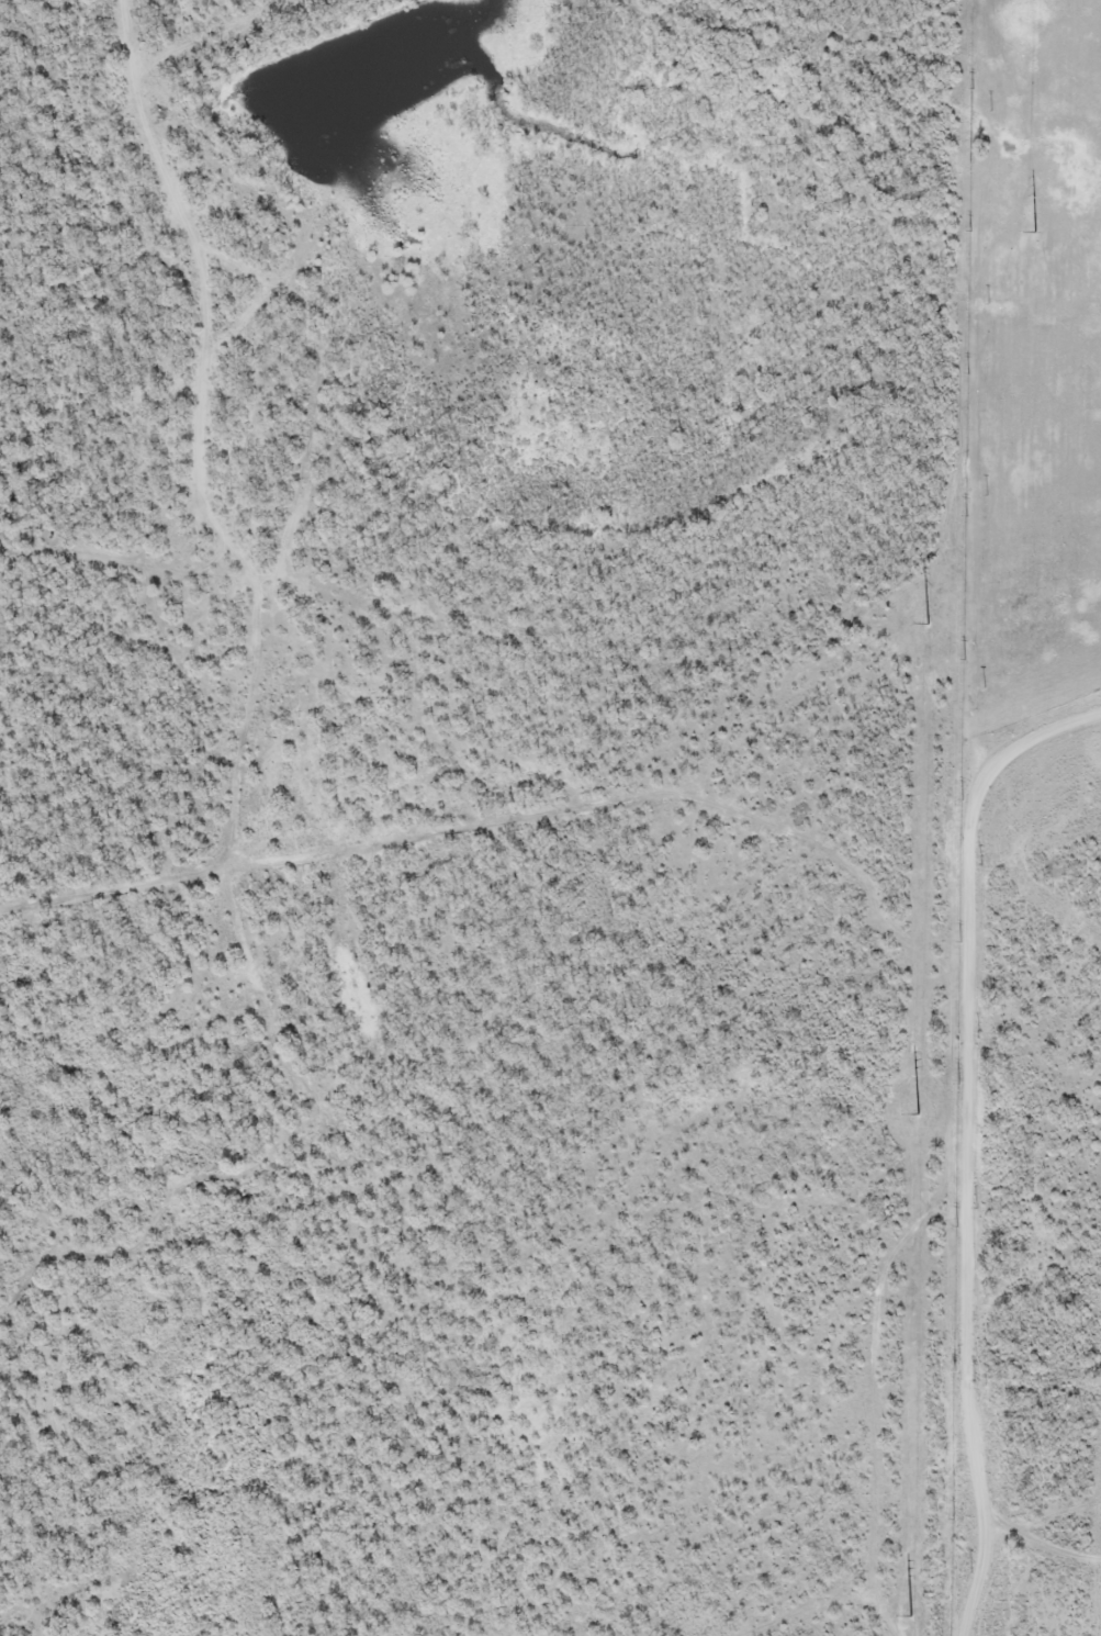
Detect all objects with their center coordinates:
power tower: (1035, 235)
road: (1079, 408)
road: (1057, 610)
power tower: (930, 621)
power tower: (921, 1112)
road: (957, 1123)
power tower: (912, 1616)

